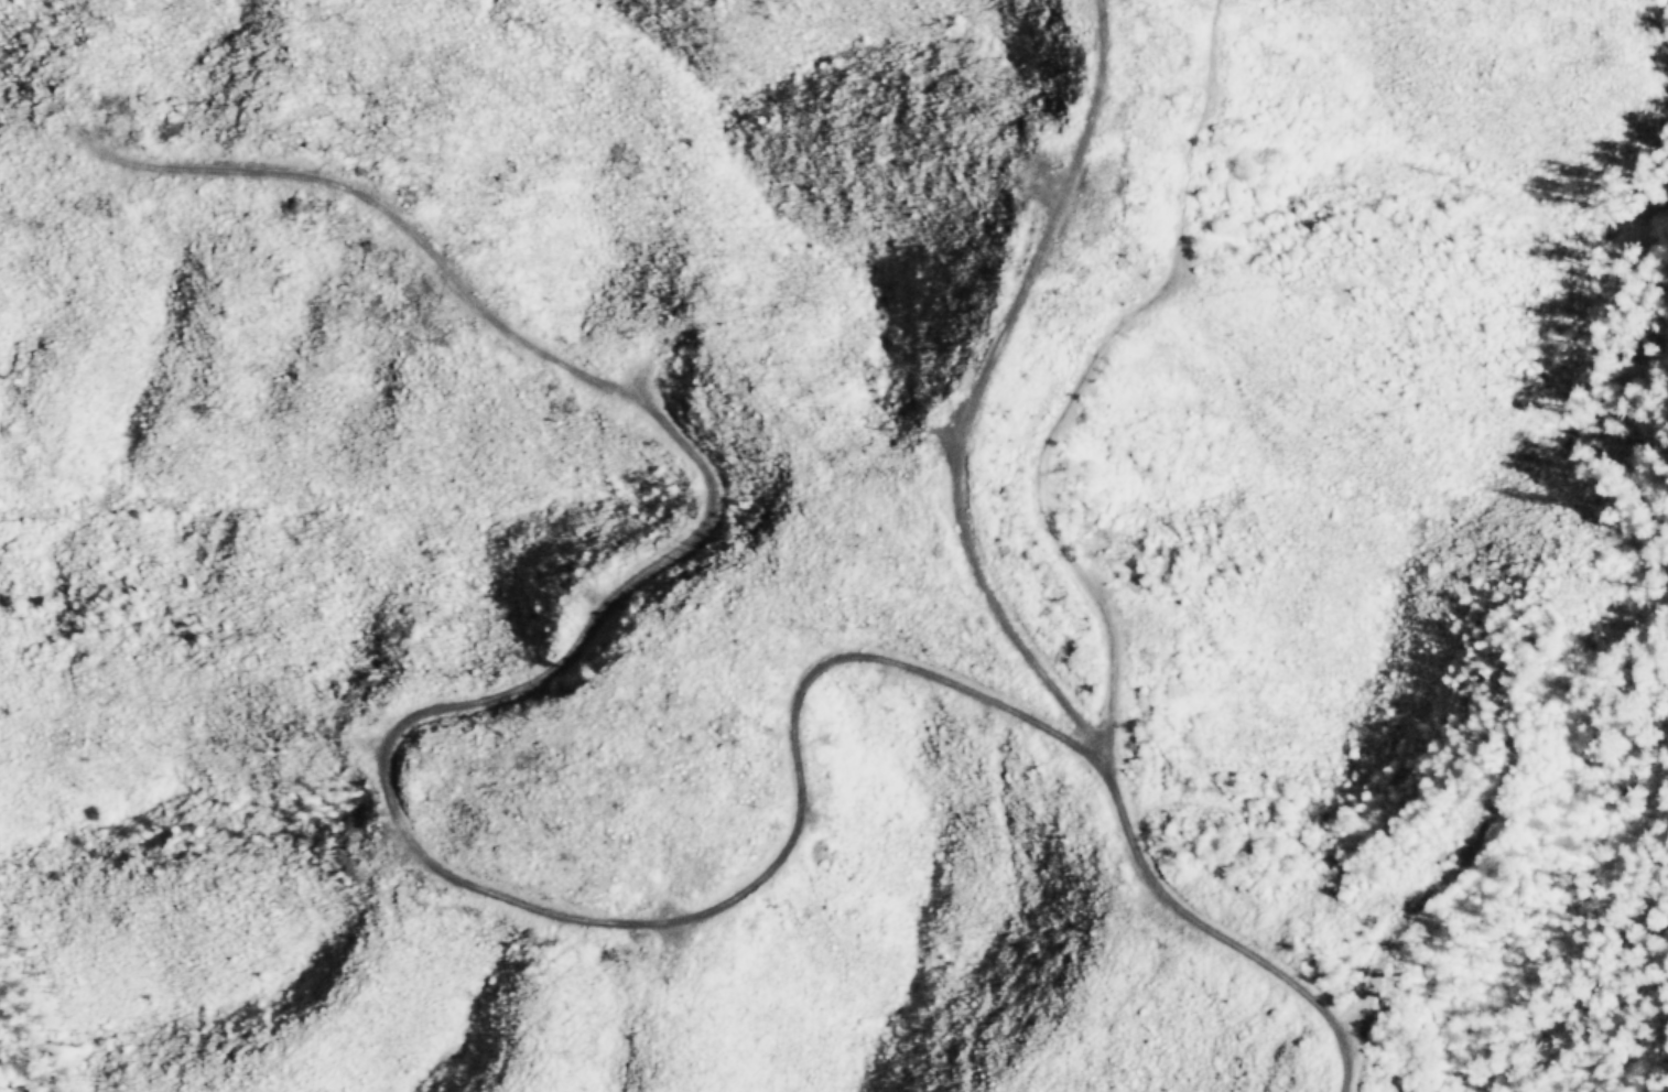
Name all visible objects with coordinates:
road: (1004, 596)
road: (400, 731)

